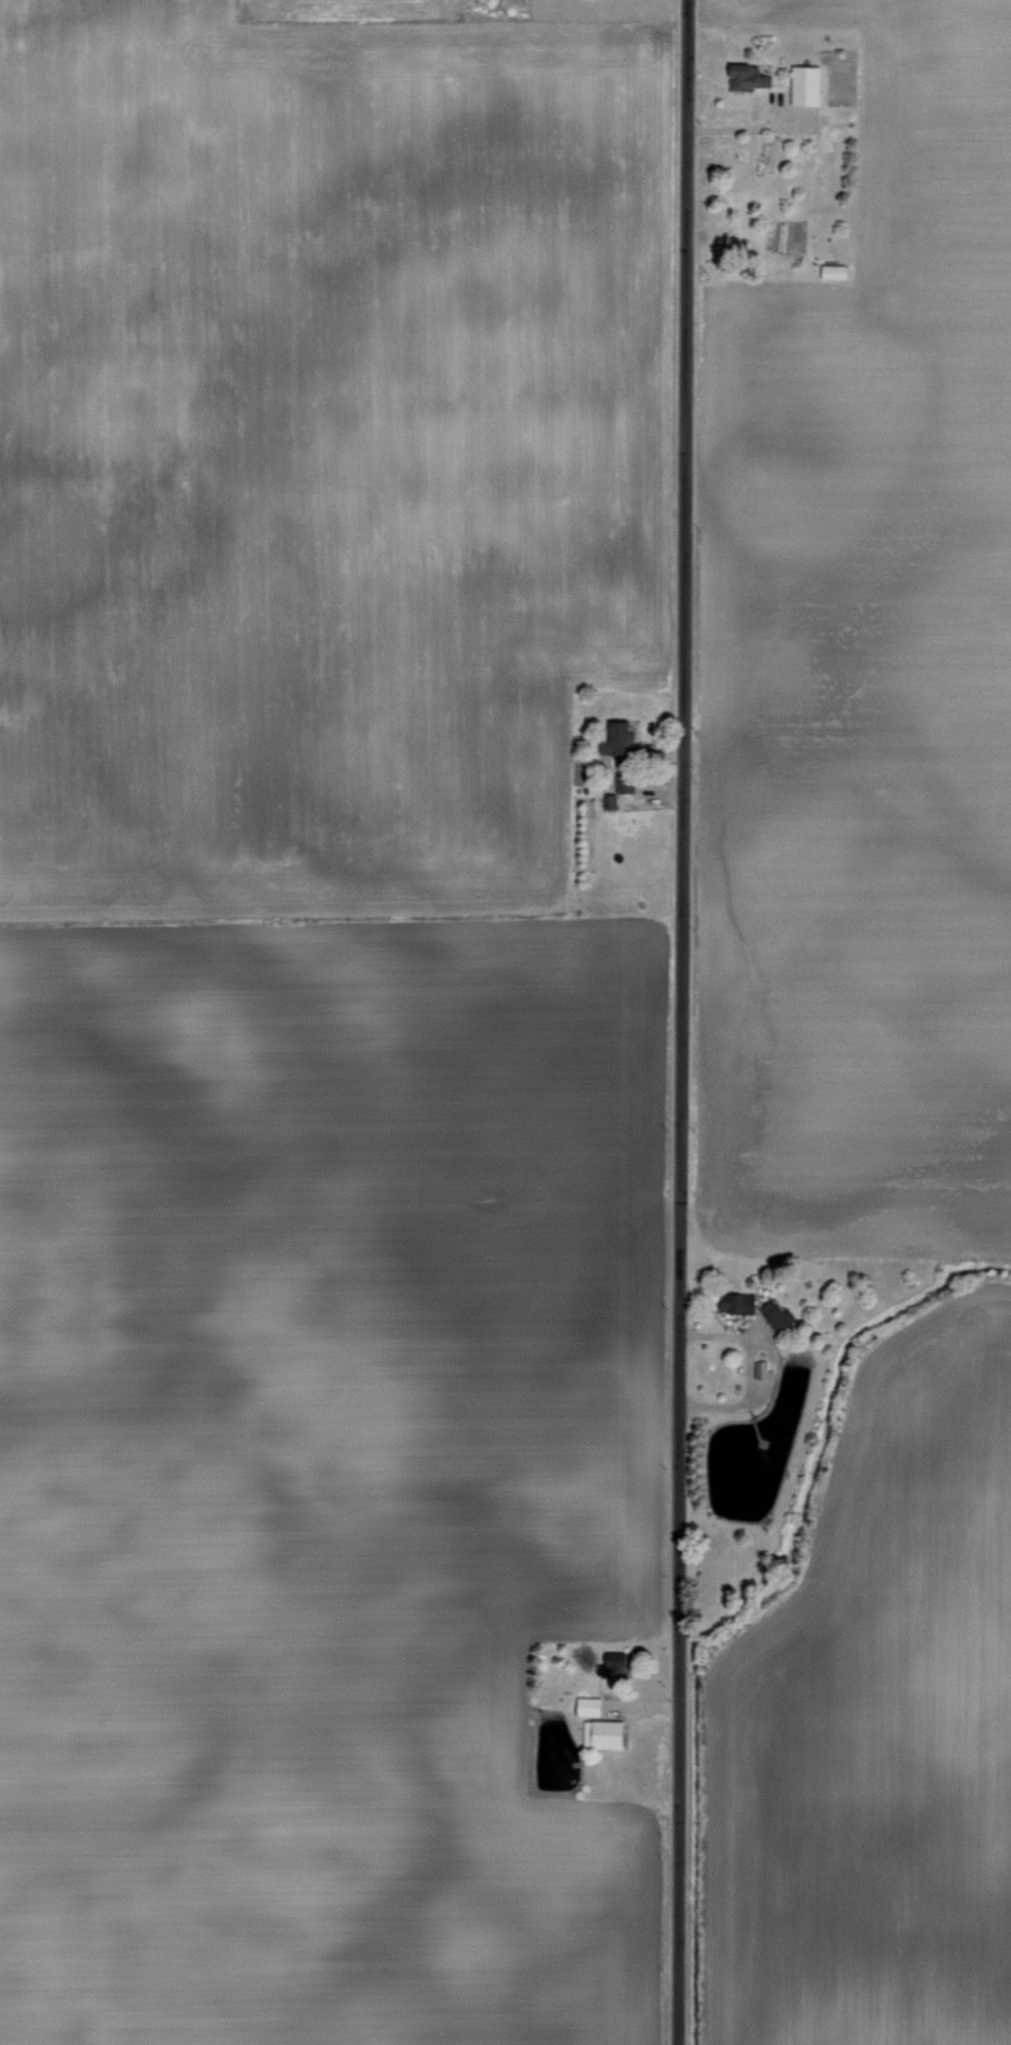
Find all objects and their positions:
building: (808, 84)
road: (746, 126)
road: (678, 1022)
road: (749, 1369)
building: (591, 1706)

